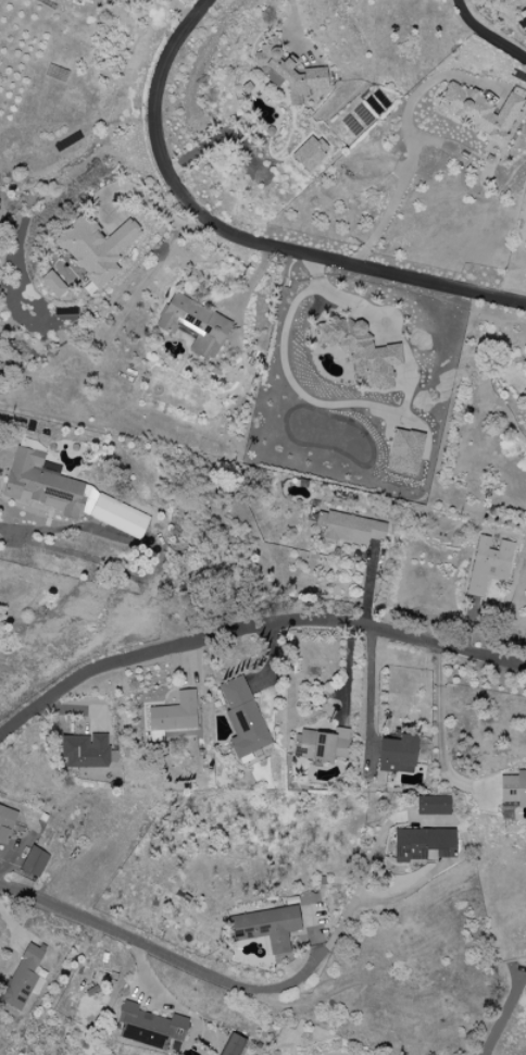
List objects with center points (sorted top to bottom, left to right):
road: (177, 5)
road: (293, 22)
road: (487, 35)
building: (288, 72)
building: (479, 110)
road: (410, 139)
building: (309, 152)
road: (151, 207)
road: (243, 238)
building: (96, 247)
building: (52, 284)
building: (193, 325)
building: (360, 350)
building: (403, 451)
building: (68, 494)
building: (351, 529)
building: (488, 564)
road: (252, 629)
road: (371, 693)
building: (174, 713)
building: (242, 719)
road: (441, 734)
building: (321, 745)
building: (84, 750)
building: (397, 754)
building: (513, 789)
building: (431, 806)
building: (5, 823)
building: (423, 844)
building: (34, 861)
building: (266, 927)
building: (23, 978)
road: (248, 989)
road: (501, 1015)
building: (148, 1027)
building: (231, 1045)

